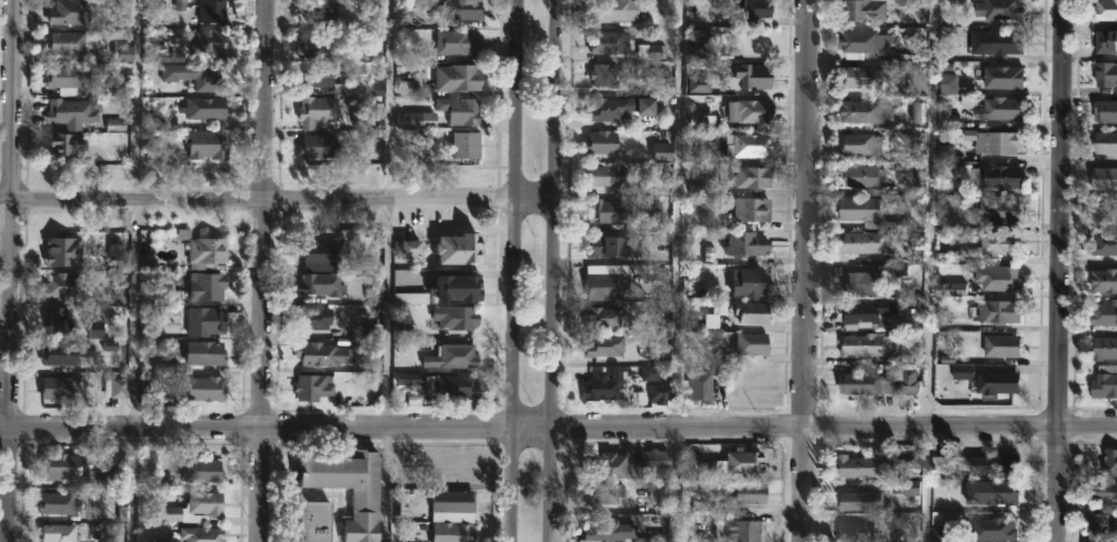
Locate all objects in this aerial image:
building: (462, 9)
building: (865, 9)
building: (996, 9)
building: (319, 10)
building: (611, 10)
building: (1104, 10)
building: (212, 11)
building: (71, 12)
building: (858, 41)
building: (212, 42)
building: (320, 42)
building: (458, 42)
building: (999, 42)
building: (1105, 42)
building: (67, 43)
building: (606, 43)
building: (193, 76)
building: (598, 76)
building: (1105, 76)
building: (460, 77)
building: (755, 77)
building: (860, 78)
building: (1000, 78)
building: (67, 80)
building: (341, 83)
road: (136, 101)
road: (391, 101)
building: (207, 108)
building: (991, 108)
building: (621, 109)
building: (461, 110)
building: (1104, 111)
building: (74, 112)
building: (319, 112)
building: (751, 112)
building: (858, 112)
building: (599, 142)
building: (996, 142)
building: (1104, 143)
building: (70, 144)
building: (207, 144)
building: (468, 144)
building: (320, 145)
building: (858, 145)
building: (742, 147)
building: (375, 152)
building: (605, 175)
building: (750, 178)
building: (997, 178)
building: (859, 179)
building: (1104, 180)
road: (279, 201)
building: (857, 209)
building: (600, 210)
building: (750, 210)
building: (1104, 210)
building: (997, 211)
road: (680, 215)
building: (859, 241)
building: (741, 242)
building: (996, 242)
building: (1103, 242)
building: (614, 244)
building: (463, 245)
building: (410, 247)
building: (208, 249)
building: (73, 250)
building: (319, 251)
road: (14, 270)
road: (807, 270)
road: (930, 270)
road: (263, 271)
road: (516, 271)
road: (556, 271)
road: (1057, 271)
building: (996, 277)
building: (1103, 279)
building: (747, 281)
building: (322, 282)
building: (852, 282)
building: (66, 284)
building: (208, 284)
building: (602, 284)
building: (461, 285)
building: (995, 310)
building: (748, 311)
building: (865, 311)
building: (1103, 313)
road: (385, 315)
building: (458, 315)
road: (134, 317)
building: (313, 317)
building: (599, 317)
building: (58, 319)
building: (207, 320)
building: (748, 342)
building: (862, 344)
building: (999, 344)
building: (602, 345)
building: (1104, 347)
building: (658, 351)
building: (67, 352)
building: (207, 352)
building: (325, 353)
building: (456, 355)
building: (947, 378)
building: (995, 381)
building: (1104, 381)
building: (857, 382)
building: (117, 384)
building: (601, 385)
building: (208, 387)
building: (312, 387)
building: (455, 387)
building: (699, 387)
building: (64, 388)
building: (660, 393)
road: (558, 431)
building: (656, 461)
building: (600, 463)
building: (730, 463)
building: (1111, 463)
building: (993, 464)
building: (64, 465)
building: (854, 465)
building: (945, 465)
building: (203, 470)
road: (131, 485)
road: (388, 486)
road: (674, 486)
building: (600, 491)
building: (1103, 491)
building: (744, 492)
building: (997, 492)
building: (453, 500)
building: (855, 500)
building: (367, 501)
building: (62, 502)
building: (207, 502)
building: (319, 520)
building: (1100, 526)
building: (604, 529)
building: (737, 529)
building: (988, 529)
building: (854, 531)
building: (60, 532)
building: (456, 532)
building: (202, 533)
building: (168, 539)

